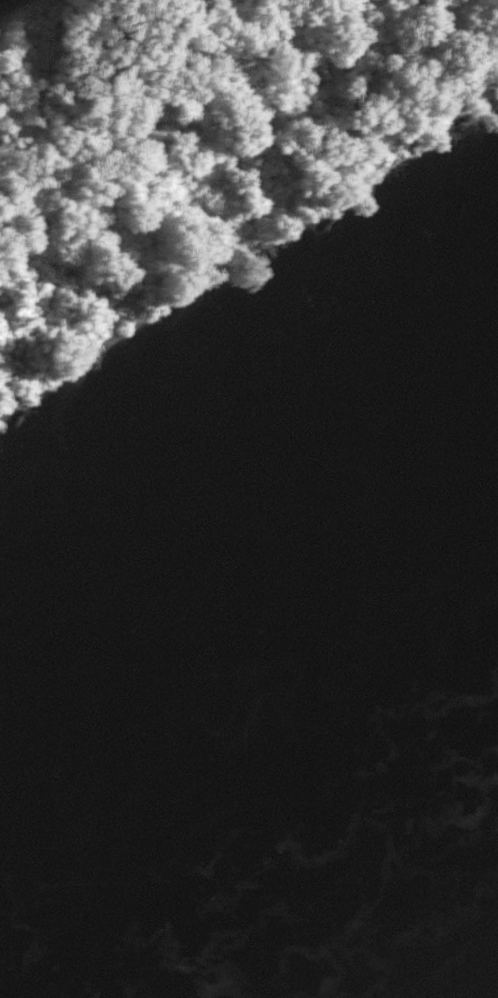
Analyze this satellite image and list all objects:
river: (313, 850)

